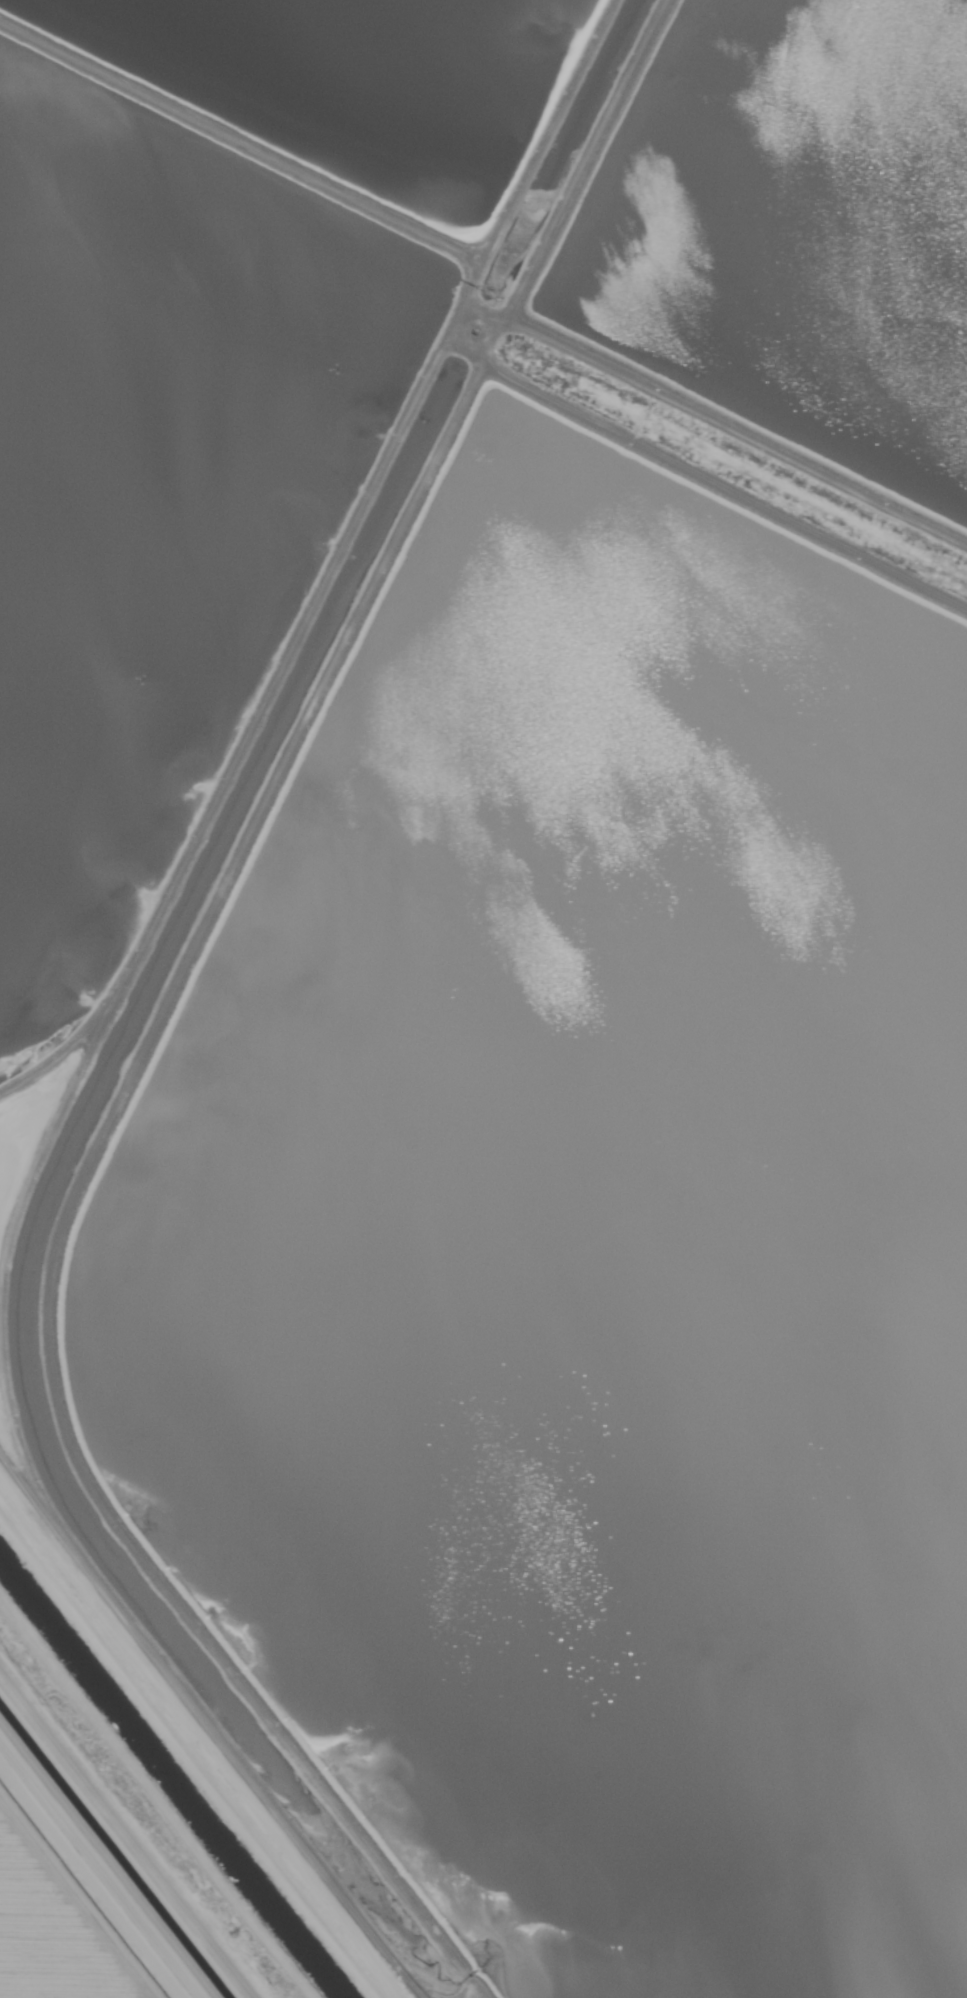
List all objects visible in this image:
road: (238, 1693)
road: (125, 1837)
crop: (115, 1854)

